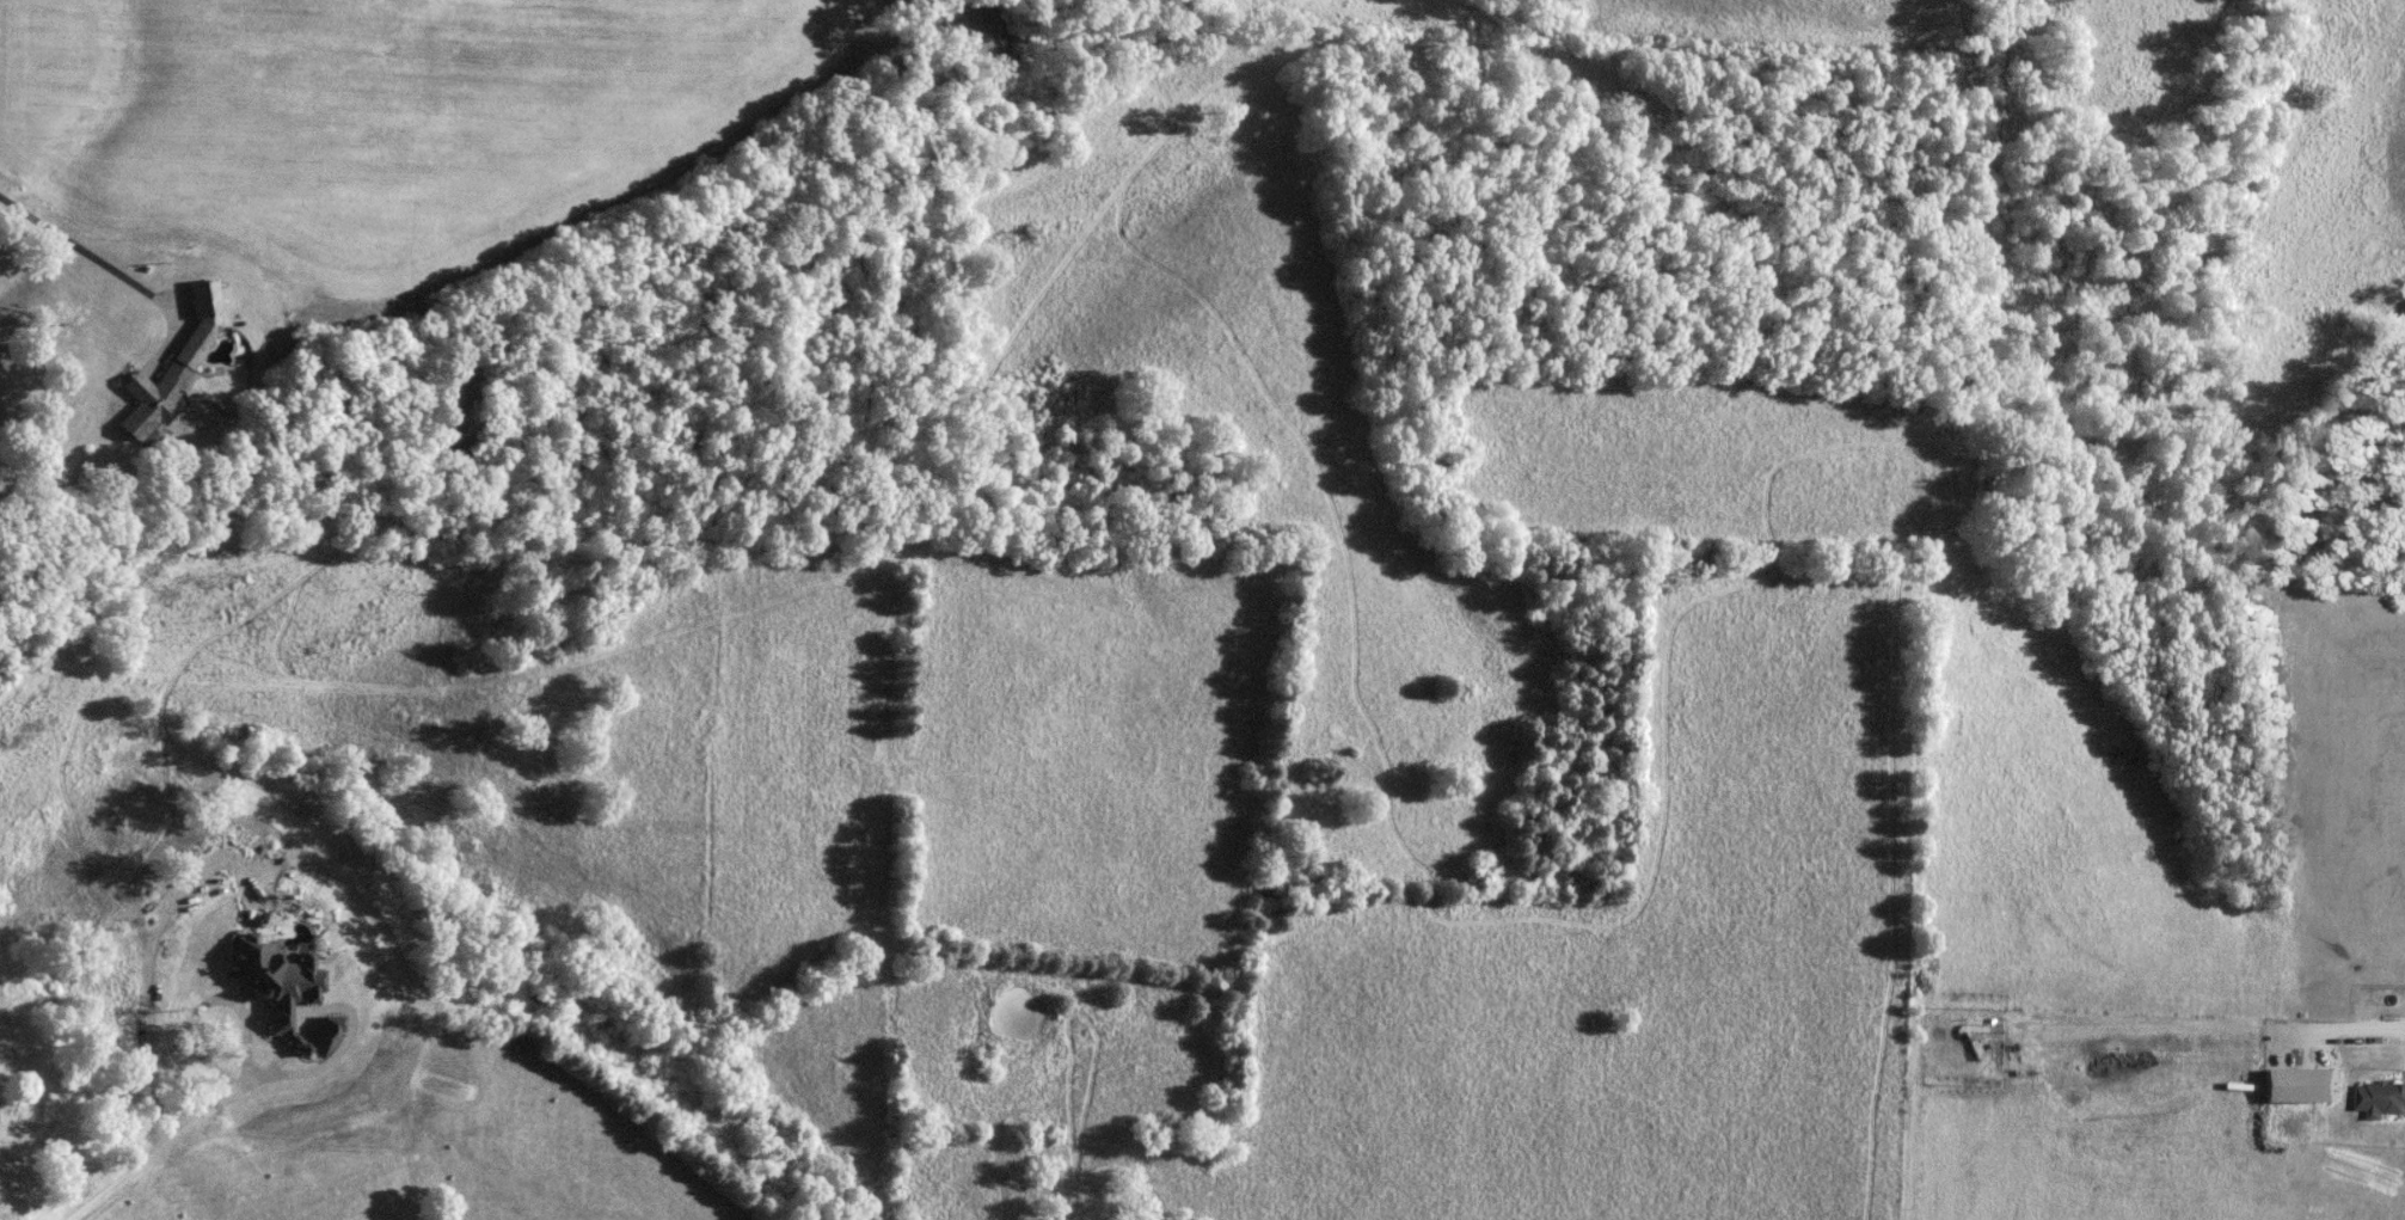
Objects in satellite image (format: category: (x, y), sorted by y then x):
road: (86, 253)
building: (149, 396)
road: (205, 1000)
road: (2339, 1025)
road: (333, 1052)
building: (2382, 1097)
road: (153, 1152)

